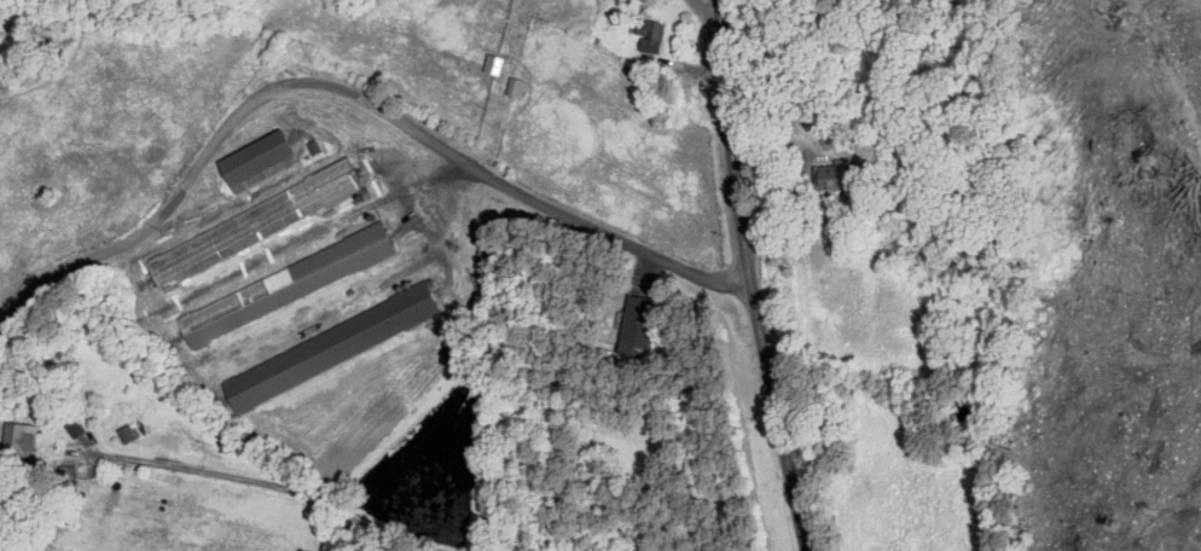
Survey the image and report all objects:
building: (648, 35)
road: (353, 100)
building: (251, 157)
building: (820, 176)
building: (251, 225)
road: (750, 277)
building: (283, 285)
building: (632, 326)
building: (326, 347)
building: (17, 437)
building: (65, 475)
road: (243, 486)

